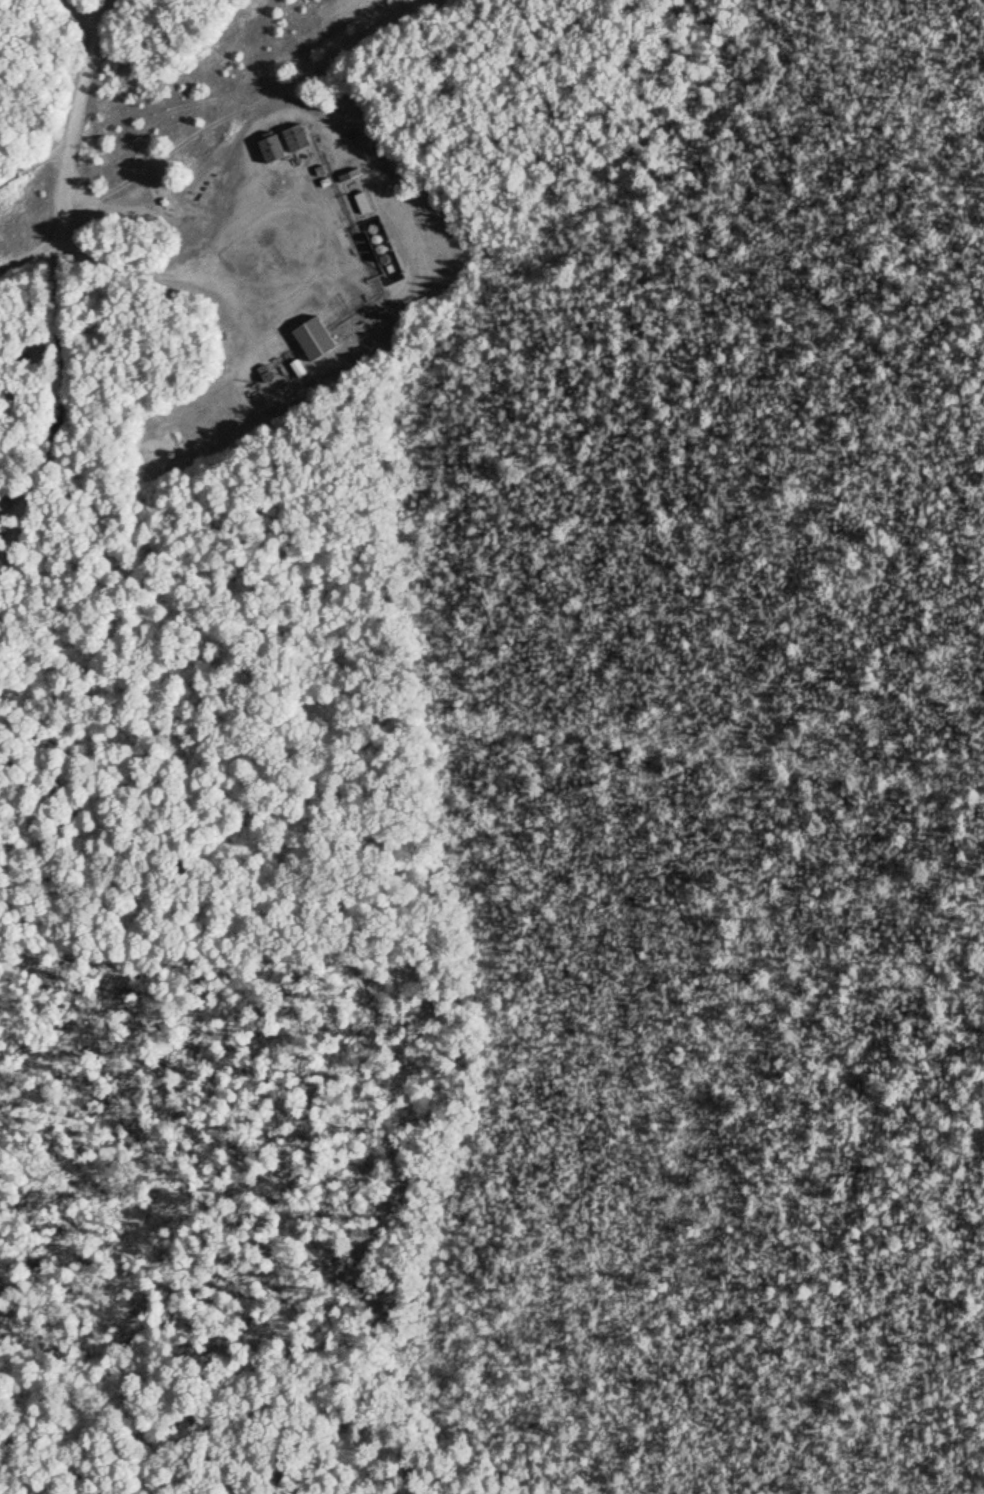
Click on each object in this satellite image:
road: (88, 71)
building: (350, 133)
building: (293, 137)
building: (271, 145)
road: (33, 163)
building: (318, 169)
building: (348, 174)
building: (324, 182)
building: (360, 201)
road: (394, 212)
petroleum well: (277, 248)
road: (33, 255)
road: (312, 269)
building: (378, 314)
building: (313, 338)
road: (64, 365)
building: (262, 372)
road: (201, 683)
road: (721, 757)

